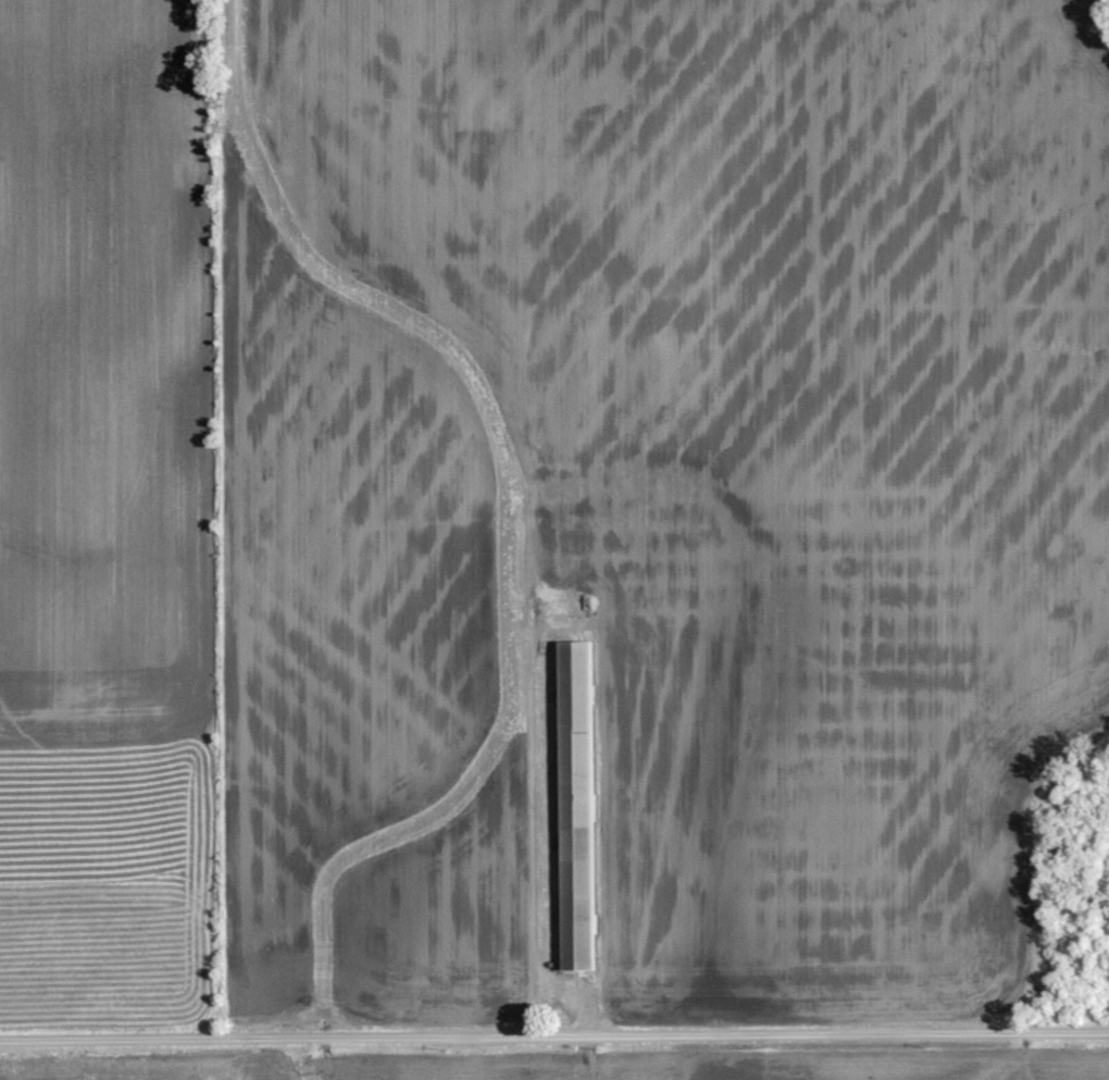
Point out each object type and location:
building: (574, 804)
road: (539, 842)
road: (554, 1033)

